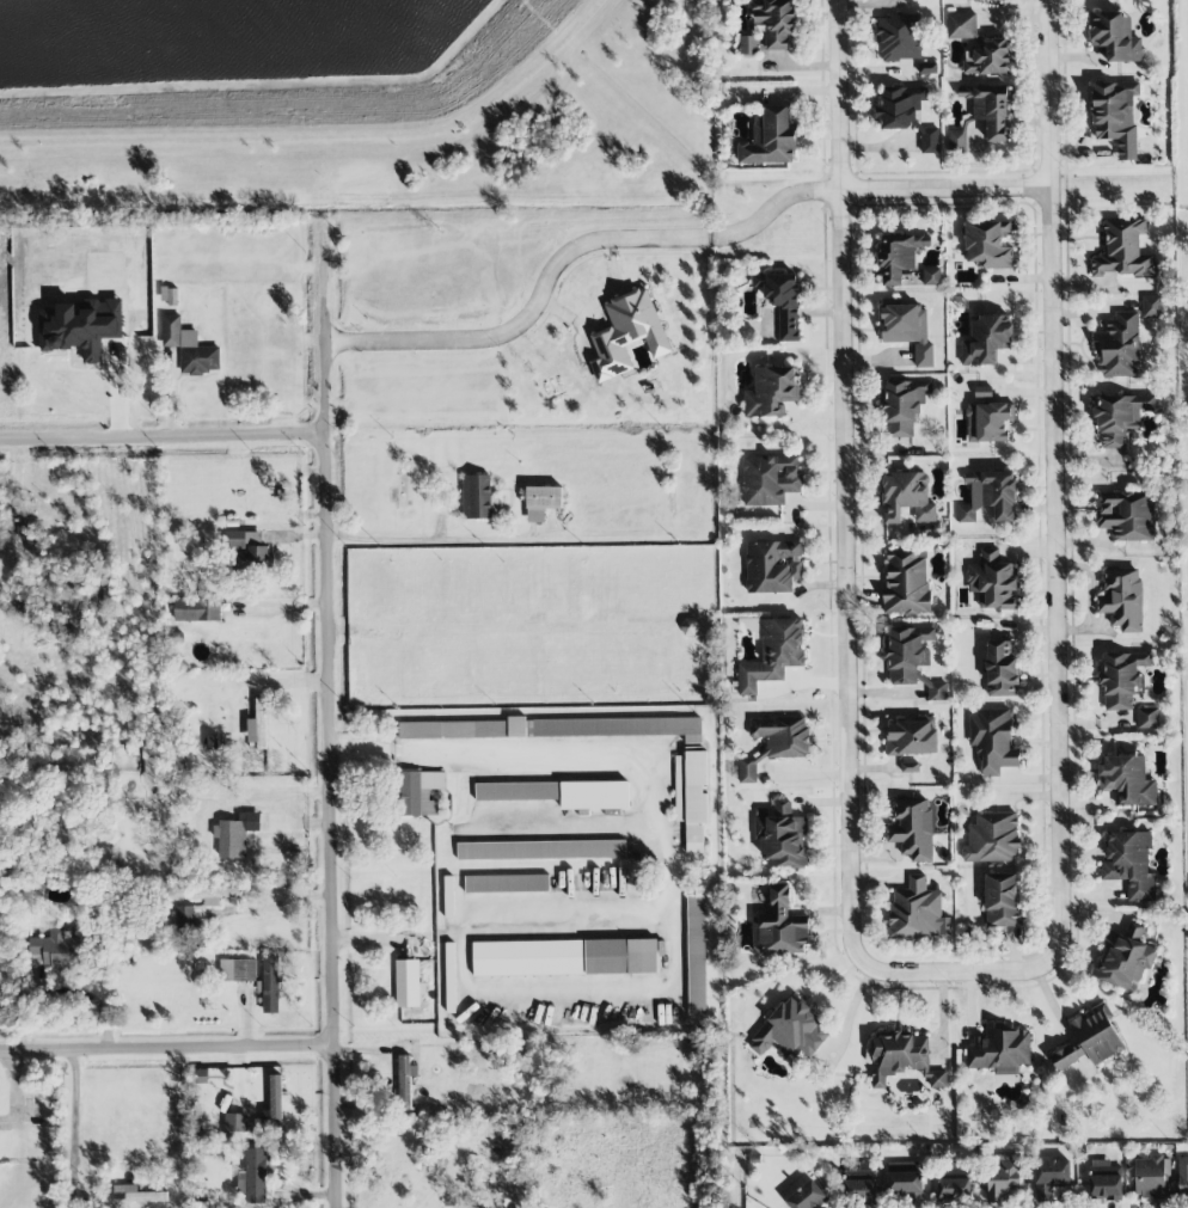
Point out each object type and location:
building: (774, 22)
building: (961, 25)
building: (899, 37)
building: (1115, 37)
building: (747, 45)
building: (986, 57)
building: (900, 106)
building: (1113, 108)
building: (990, 109)
building: (770, 139)
building: (929, 140)
building: (957, 140)
road: (874, 189)
building: (988, 244)
building: (1122, 249)
building: (899, 255)
building: (931, 276)
building: (782, 301)
building: (1151, 306)
road: (532, 311)
building: (80, 326)
building: (906, 329)
building: (627, 333)
building: (986, 341)
building: (189, 348)
building: (1119, 348)
building: (772, 391)
building: (902, 405)
building: (1187, 413)
building: (1120, 417)
building: (988, 422)
road: (164, 437)
road: (1054, 470)
road: (840, 474)
building: (770, 479)
building: (476, 496)
building: (990, 496)
building: (906, 497)
building: (541, 502)
building: (1127, 515)
road: (388, 533)
building: (249, 548)
building: (772, 566)
building: (993, 581)
building: (906, 582)
building: (1122, 599)
building: (197, 609)
building: (907, 652)
building: (773, 654)
building: (1000, 669)
building: (1122, 679)
building: (937, 691)
road: (332, 717)
building: (1147, 718)
building: (257, 725)
building: (556, 728)
building: (911, 737)
building: (993, 741)
road: (532, 750)
building: (910, 767)
building: (1127, 780)
building: (516, 791)
building: (420, 792)
building: (594, 795)
building: (692, 797)
building: (912, 828)
building: (234, 834)
building: (780, 835)
building: (992, 838)
building: (540, 850)
building: (1129, 864)
building: (507, 883)
building: (213, 895)
building: (1002, 900)
road: (272, 903)
building: (918, 910)
building: (189, 918)
building: (779, 926)
building: (56, 948)
building: (696, 955)
building: (620, 956)
building: (527, 958)
building: (1123, 959)
building: (237, 970)
road: (955, 971)
building: (408, 983)
building: (270, 985)
building: (791, 1030)
building: (1097, 1035)
road: (165, 1049)
building: (1000, 1049)
building: (901, 1059)
building: (1063, 1059)
road: (391, 1078)
building: (404, 1081)
building: (272, 1109)
road: (72, 1124)
building: (954, 1173)
building: (1182, 1176)
building: (256, 1177)
building: (1051, 1177)
building: (1151, 1177)
building: (1003, 1178)
building: (1104, 1181)
building: (861, 1182)
building: (905, 1182)
building: (954, 1190)
building: (803, 1194)
building: (136, 1195)

